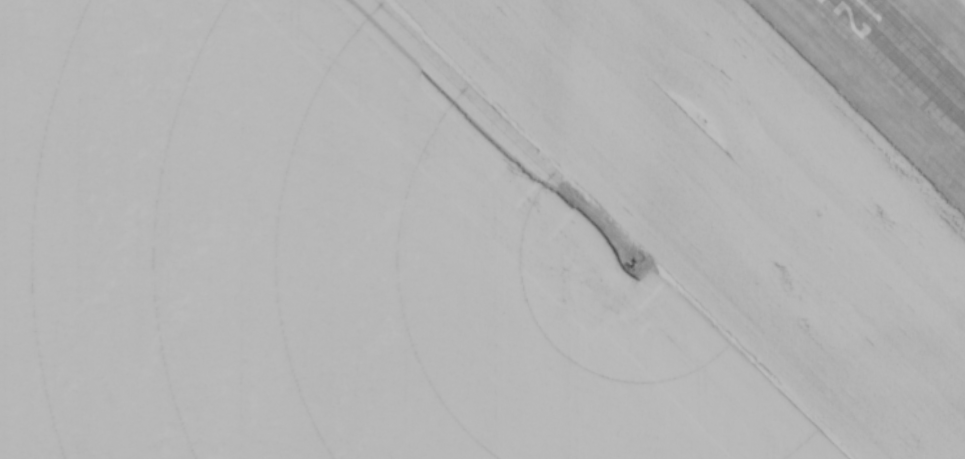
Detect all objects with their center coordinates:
airport runway: (911, 52)

